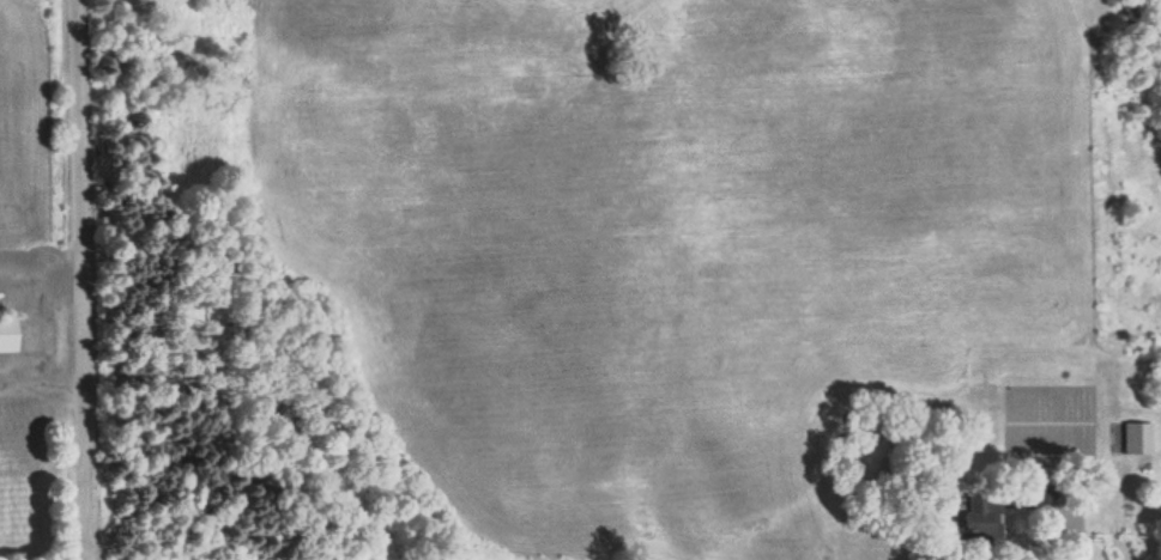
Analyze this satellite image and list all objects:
road: (79, 280)
building: (8, 335)
building: (1136, 438)
building: (979, 513)

